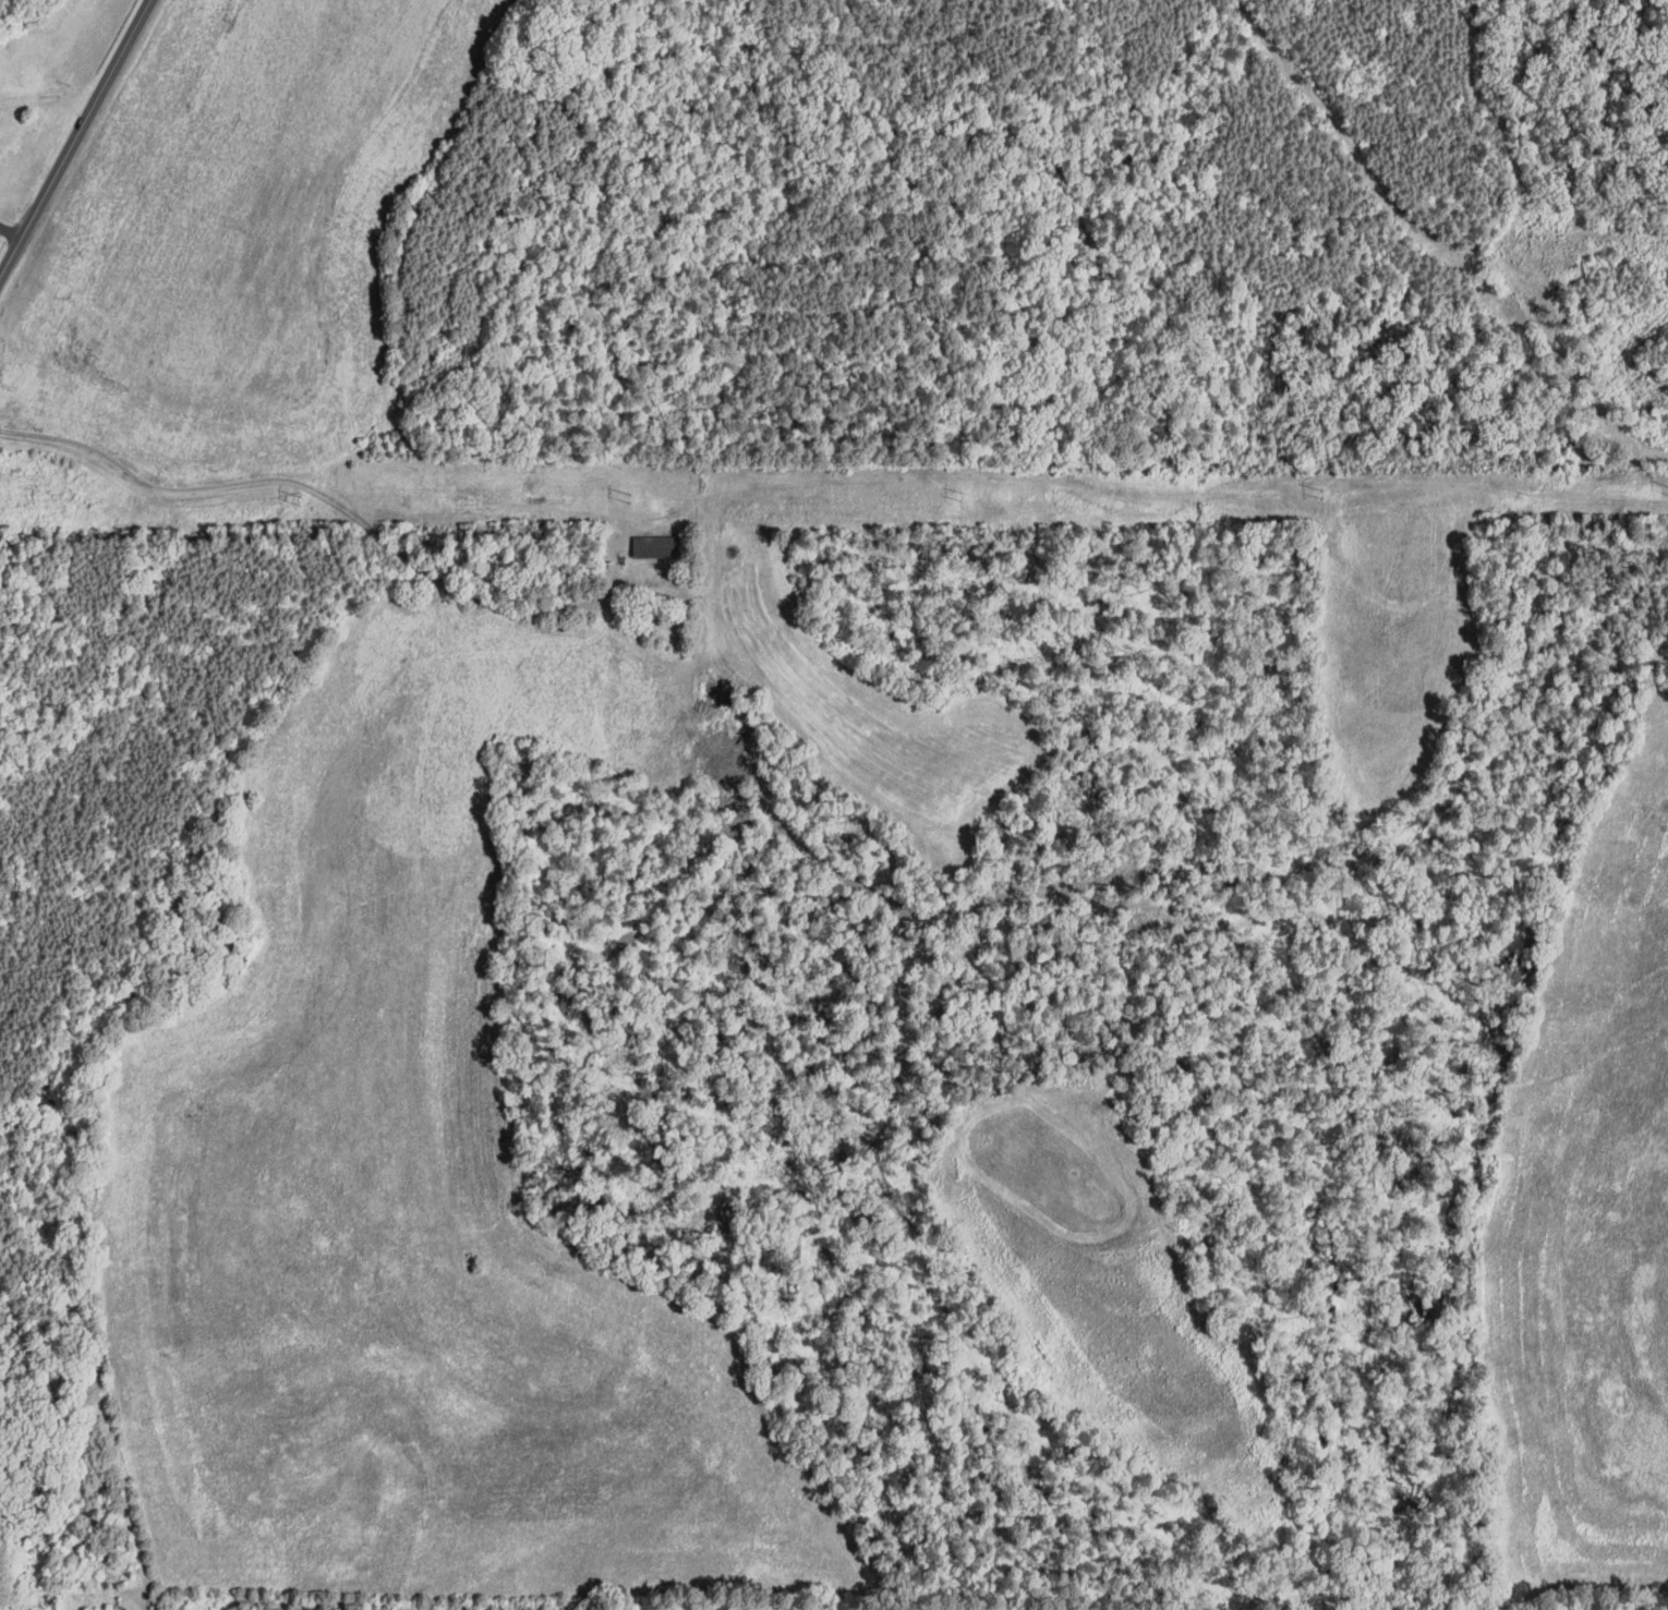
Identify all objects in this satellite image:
road: (75, 137)
building: (654, 546)
road: (9, 1605)
building: (59, 1607)

